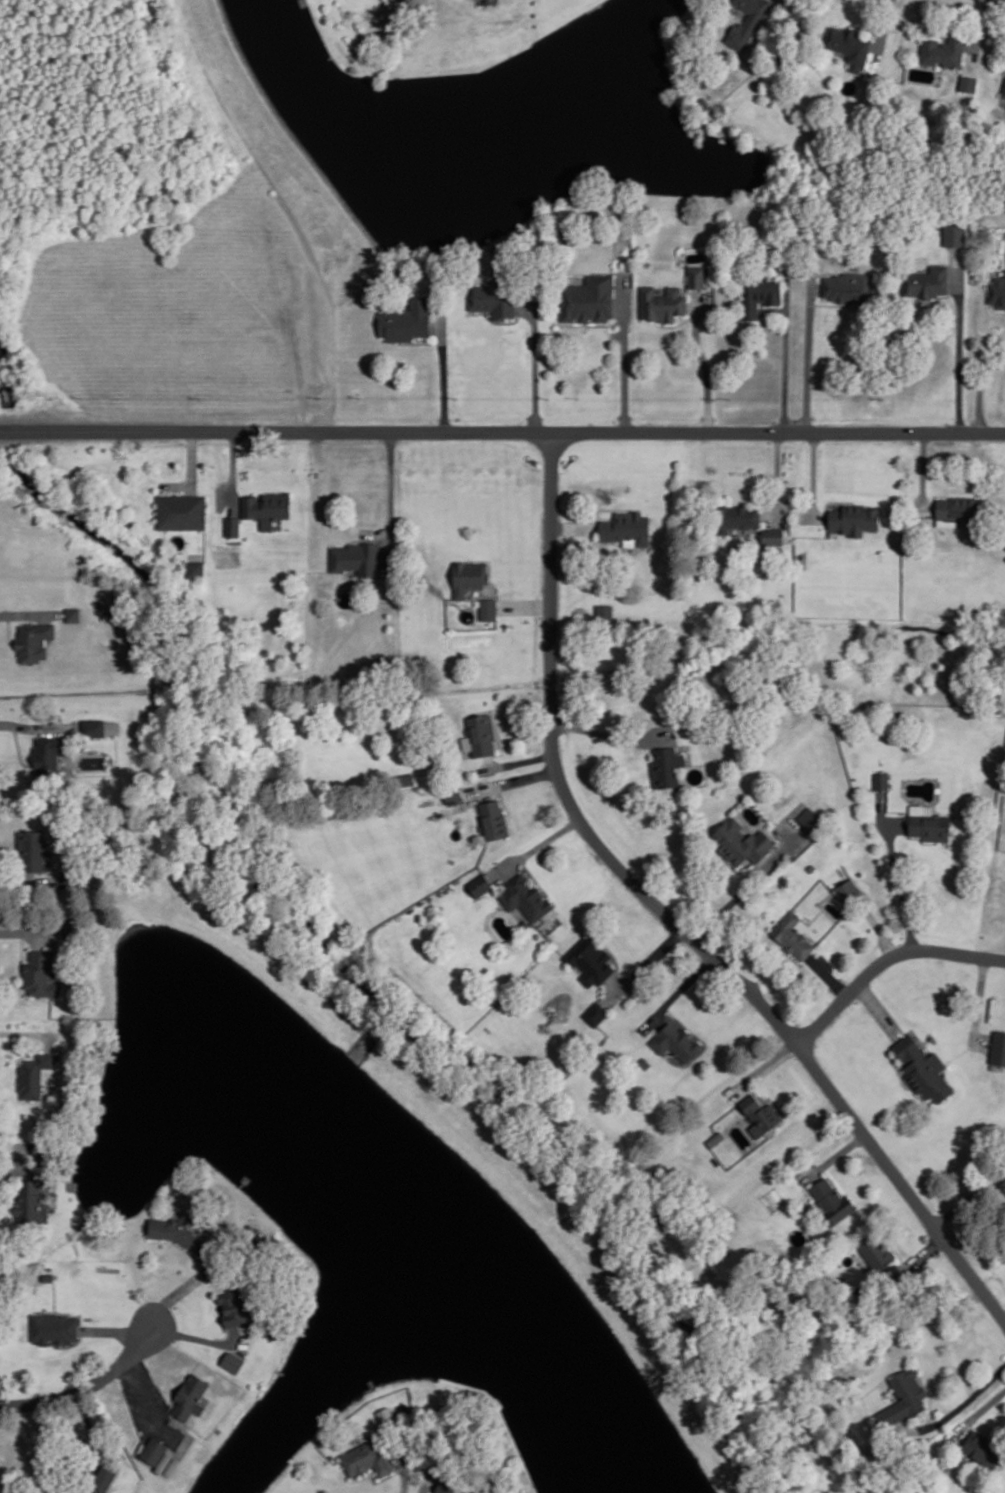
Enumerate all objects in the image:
pier: (304, 2)
building: (747, 21)
road: (883, 28)
road: (981, 28)
building: (848, 43)
building: (942, 51)
road: (60, 65)
building: (968, 82)
building: (1003, 91)
building: (703, 102)
building: (954, 234)
building: (696, 275)
building: (927, 281)
building: (847, 285)
building: (998, 291)
building: (760, 294)
building: (588, 298)
building: (494, 299)
building: (662, 303)
building: (406, 320)
road: (677, 323)
road: (959, 340)
road: (624, 350)
road: (786, 353)
road: (808, 355)
road: (703, 360)
road: (535, 361)
road: (444, 375)
road: (980, 387)
road: (502, 431)
road: (192, 456)
road: (234, 470)
road: (924, 472)
road: (813, 474)
road: (777, 476)
road: (391, 496)
building: (266, 506)
building: (956, 507)
building: (180, 510)
building: (735, 517)
building: (853, 518)
building: (232, 525)
road: (572, 526)
building: (625, 526)
building: (773, 534)
building: (356, 557)
building: (196, 568)
building: (469, 576)
road: (526, 606)
building: (488, 608)
building: (604, 611)
road: (31, 613)
building: (73, 613)
road: (8, 629)
building: (35, 639)
road: (38, 726)
building: (97, 726)
flagpole: (18, 732)
building: (481, 733)
road: (612, 734)
road: (500, 744)
road: (19, 747)
building: (47, 753)
road: (489, 760)
road: (517, 761)
building: (667, 765)
building: (404, 779)
road: (510, 780)
building: (881, 780)
building: (452, 792)
road: (504, 803)
building: (807, 815)
building: (492, 820)
building: (929, 825)
building: (741, 840)
road: (535, 846)
building: (32, 849)
building: (811, 867)
building: (72, 877)
road: (29, 882)
building: (480, 884)
road: (749, 884)
road: (899, 884)
building: (848, 887)
building: (524, 896)
road: (668, 916)
building: (524, 922)
road: (877, 926)
road: (25, 931)
building: (793, 935)
flagpole: (26, 941)
road: (793, 957)
road: (885, 958)
building: (589, 959)
road: (644, 965)
building: (39, 973)
road: (827, 974)
road: (677, 992)
road: (978, 1004)
road: (878, 1008)
building: (595, 1012)
road: (681, 1019)
road: (29, 1031)
building: (675, 1040)
building: (998, 1046)
building: (645, 1061)
road: (761, 1066)
building: (923, 1068)
building: (34, 1071)
building: (760, 1113)
road: (837, 1153)
road: (19, 1164)
pier: (245, 1179)
building: (1003, 1182)
pier: (73, 1184)
road: (968, 1197)
building: (832, 1200)
building: (30, 1202)
building: (177, 1232)
building: (878, 1250)
road: (919, 1256)
building: (896, 1272)
building: (48, 1276)
road: (54, 1294)
road: (175, 1294)
building: (233, 1306)
road: (73, 1314)
building: (52, 1327)
road: (111, 1329)
road: (197, 1337)
road: (69, 1344)
building: (232, 1360)
road: (87, 1387)
road: (141, 1394)
building: (189, 1394)
building: (906, 1396)
road: (930, 1399)
road: (960, 1405)
road: (977, 1413)
road: (92, 1432)
building: (983, 1447)
building: (153, 1449)
building: (363, 1459)
building: (163, 1461)
building: (172, 1465)
road: (406, 1472)
building: (102, 1477)
road: (383, 1477)
road: (427, 1479)
building: (445, 1488)
building: (82, 1491)
building: (96, 1491)
building: (474, 1492)

